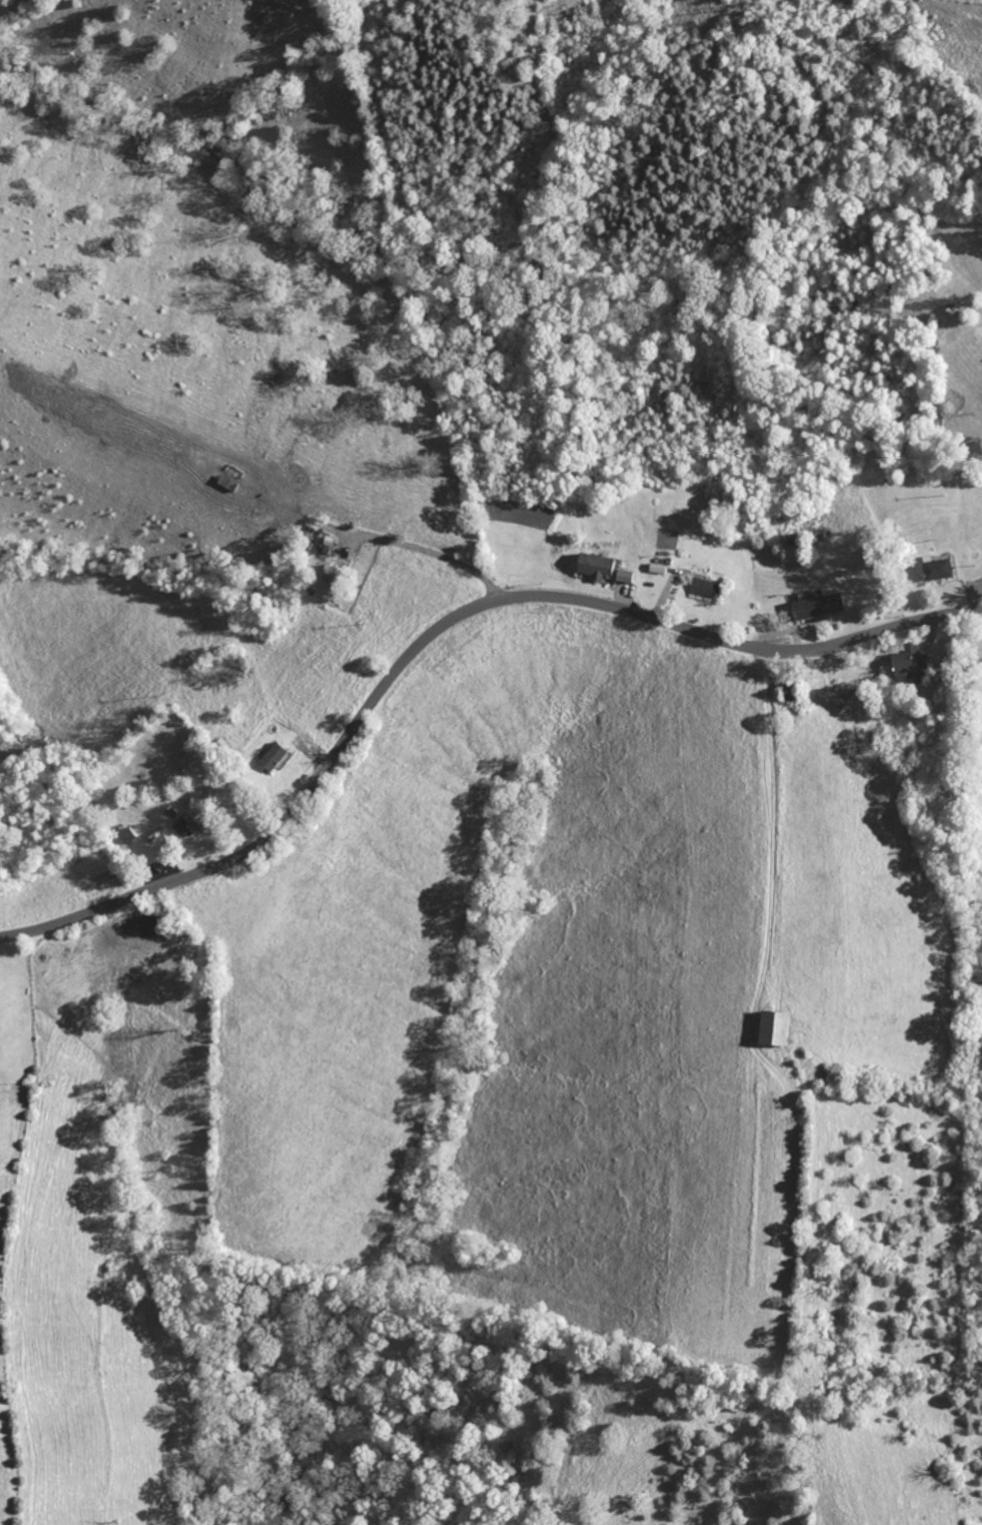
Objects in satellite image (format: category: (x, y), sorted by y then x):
road: (431, 552)
building: (601, 568)
building: (932, 569)
building: (629, 577)
building: (707, 589)
road: (440, 627)
building: (277, 756)
building: (191, 824)
building: (1, 996)
building: (768, 1028)

